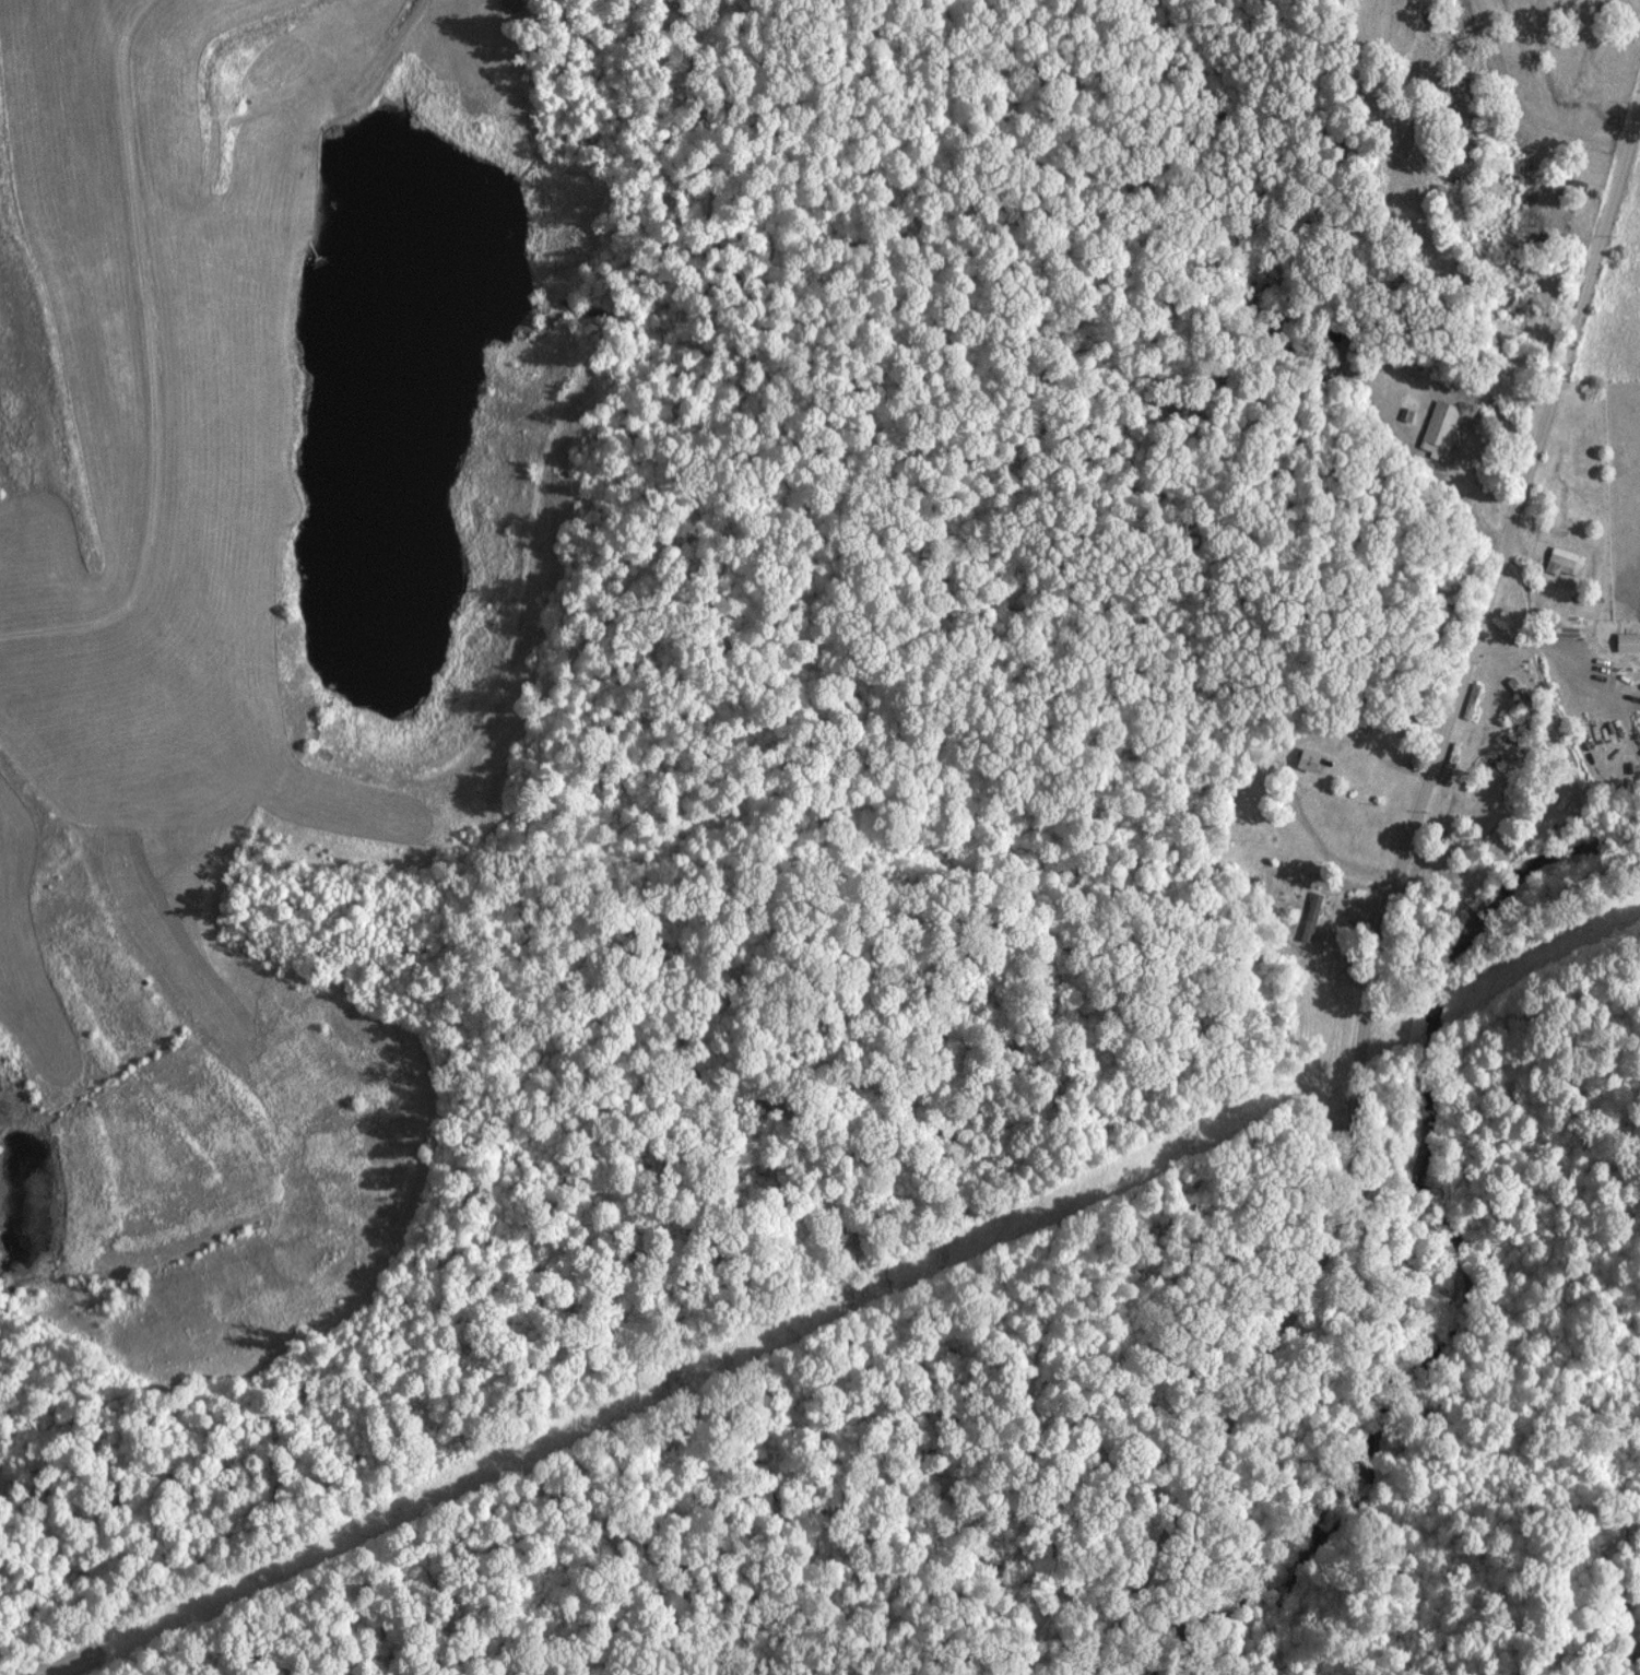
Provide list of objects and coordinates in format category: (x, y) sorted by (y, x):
road: (899, 116)
building: (1439, 425)
building: (1566, 559)
road: (1562, 652)
building: (1306, 758)
road: (1377, 906)

